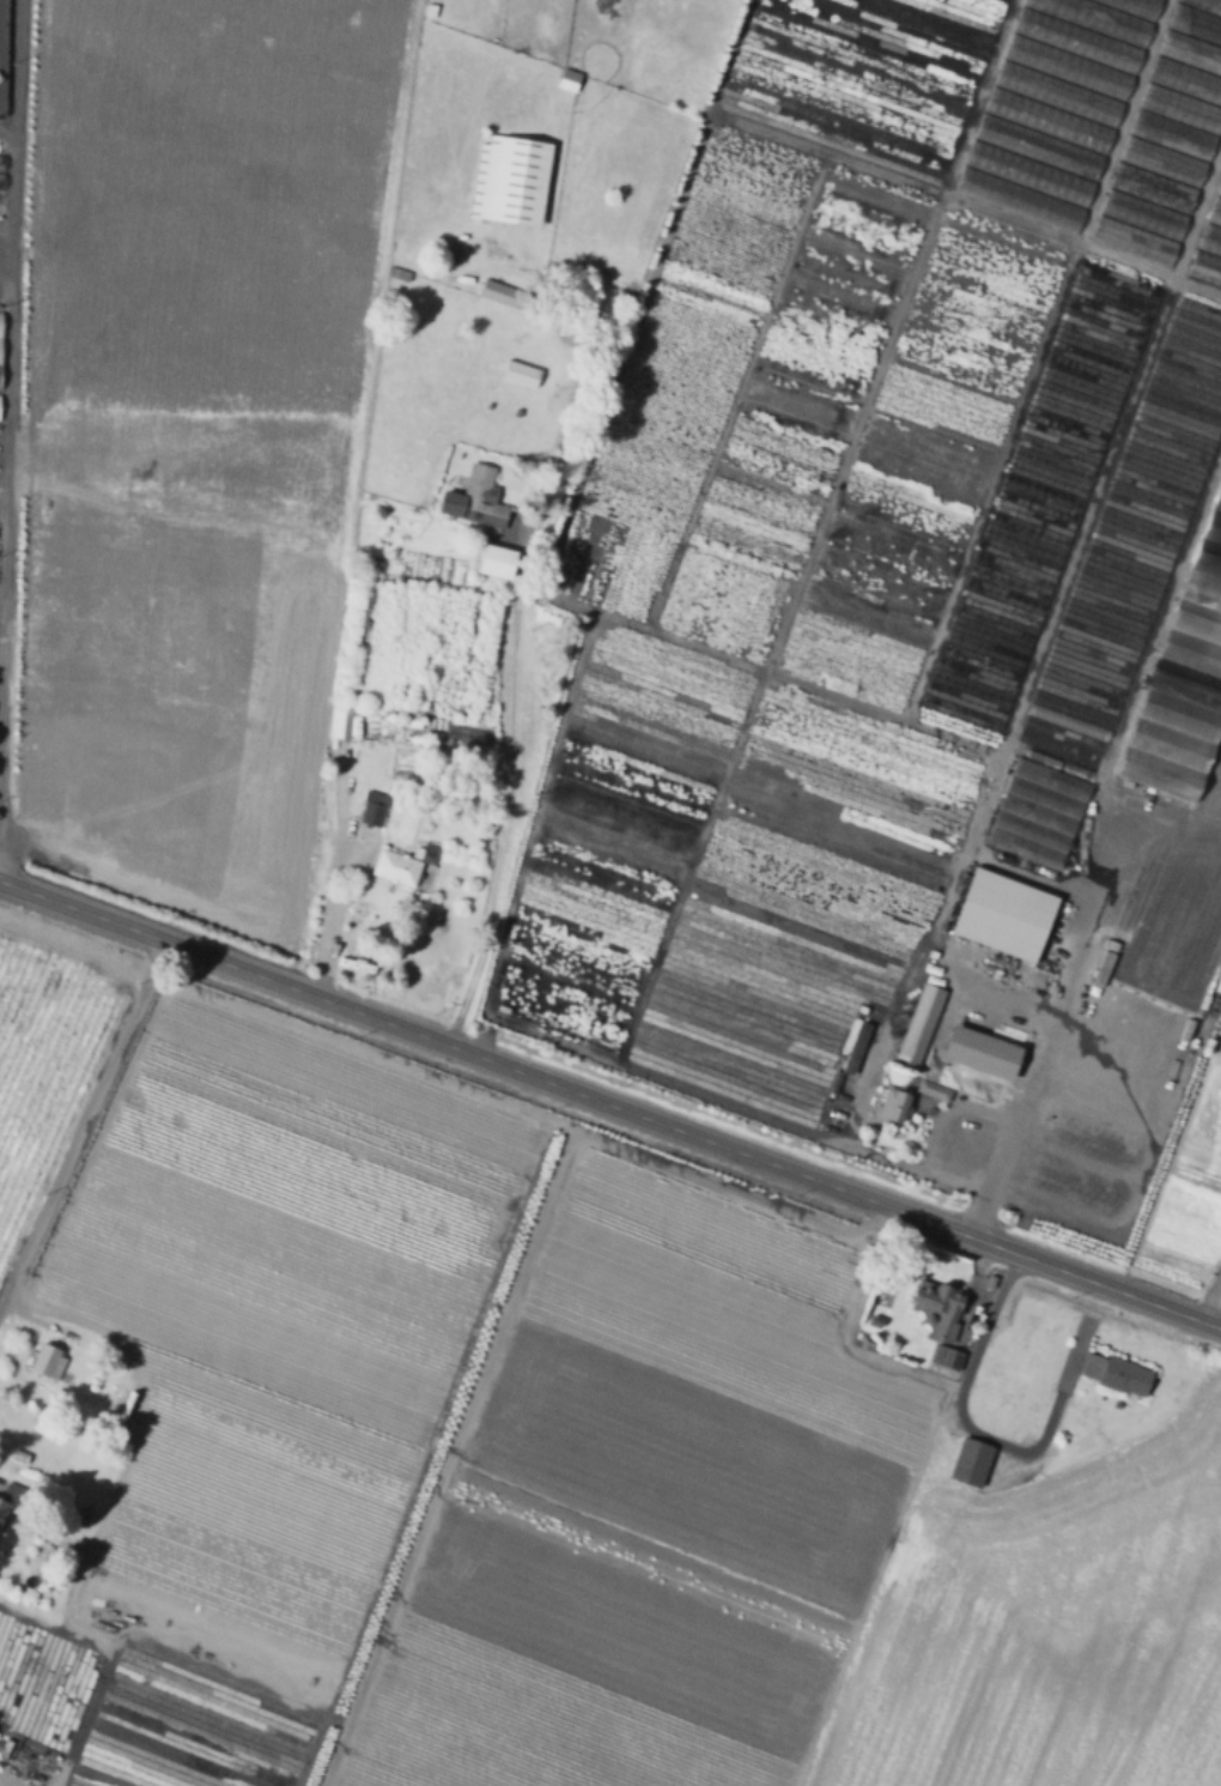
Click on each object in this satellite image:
building: (1204, 5)
building: (1132, 7)
building: (1093, 19)
building: (1196, 25)
building: (1076, 41)
building: (1191, 53)
building: (1067, 68)
building: (1186, 80)
building: (569, 81)
building: (1057, 96)
building: (1180, 109)
building: (1047, 122)
road: (8, 131)
building: (1172, 137)
building: (1038, 147)
building: (1162, 163)
building: (2, 165)
building: (1027, 175)
building: (481, 182)
building: (522, 182)
building: (2, 183)
building: (1153, 189)
building: (1219, 190)
building: (1019, 202)
road: (962, 206)
building: (1215, 213)
building: (1143, 216)
building: (1210, 241)
building: (1135, 243)
building: (1205, 270)
building: (401, 277)
road: (6, 285)
building: (510, 298)
building: (1181, 308)
building: (0, 326)
building: (0, 353)
road: (1037, 362)
building: (522, 373)
road: (8, 388)
road: (733, 395)
road: (4, 482)
building: (476, 498)
road: (558, 527)
road: (816, 533)
building: (496, 555)
road: (1070, 569)
road: (333, 609)
building: (1183, 685)
building: (408, 714)
building: (342, 721)
building: (468, 737)
road: (504, 807)
building: (373, 812)
building: (1039, 816)
building: (399, 867)
road: (334, 871)
building: (1003, 912)
road: (948, 963)
building: (1106, 965)
road: (1062, 995)
building: (919, 1024)
building: (859, 1028)
road: (540, 1039)
building: (983, 1053)
building: (936, 1090)
road: (610, 1102)
building: (895, 1106)
road: (942, 1110)
road: (84, 1120)
road: (1209, 1295)
building: (940, 1304)
building: (947, 1358)
building: (48, 1361)
building: (1094, 1364)
building: (1122, 1378)
road: (979, 1434)
road: (455, 1440)
building: (20, 1455)
building: (972, 1461)
building: (8, 1491)
building: (2, 1507)
road: (101, 1525)
crop: (1044, 1622)
building: (1, 1742)
crop: (1181, 1760)

